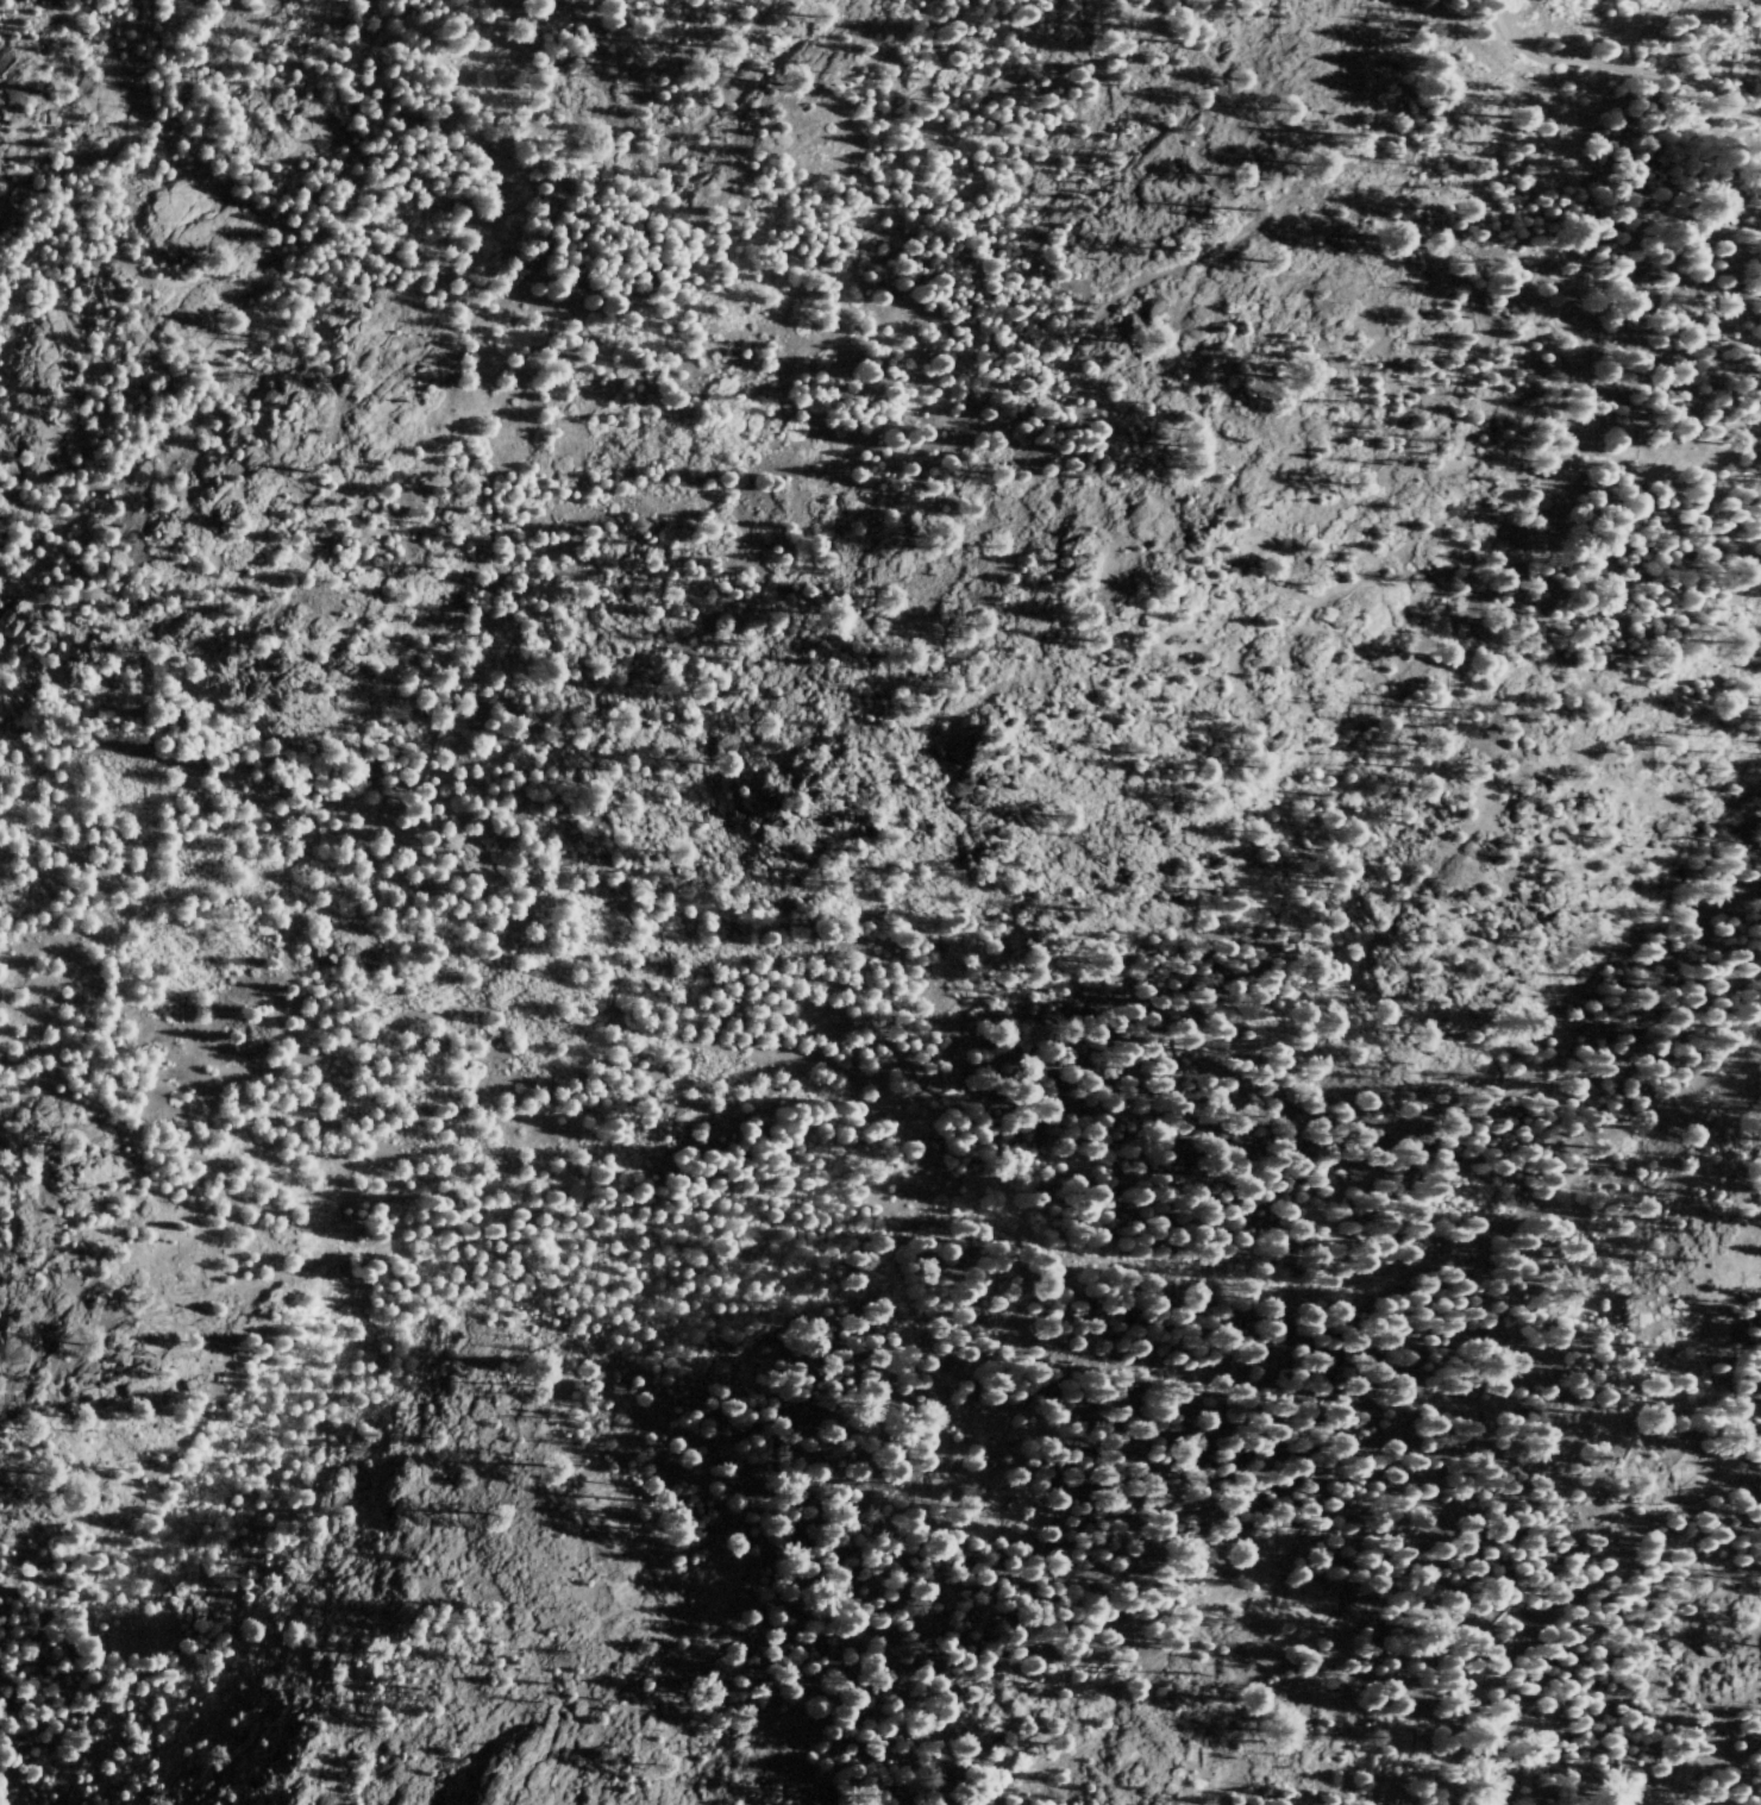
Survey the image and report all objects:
road: (1613, 71)

